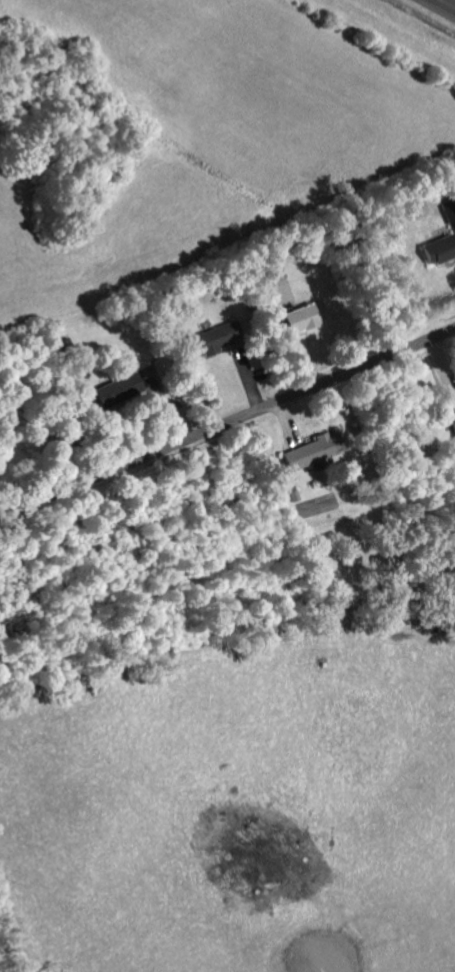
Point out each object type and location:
road: (446, 4)
building: (450, 210)
building: (439, 249)
building: (275, 270)
building: (300, 318)
building: (211, 339)
building: (120, 390)
road: (224, 391)
building: (453, 421)
building: (313, 450)

